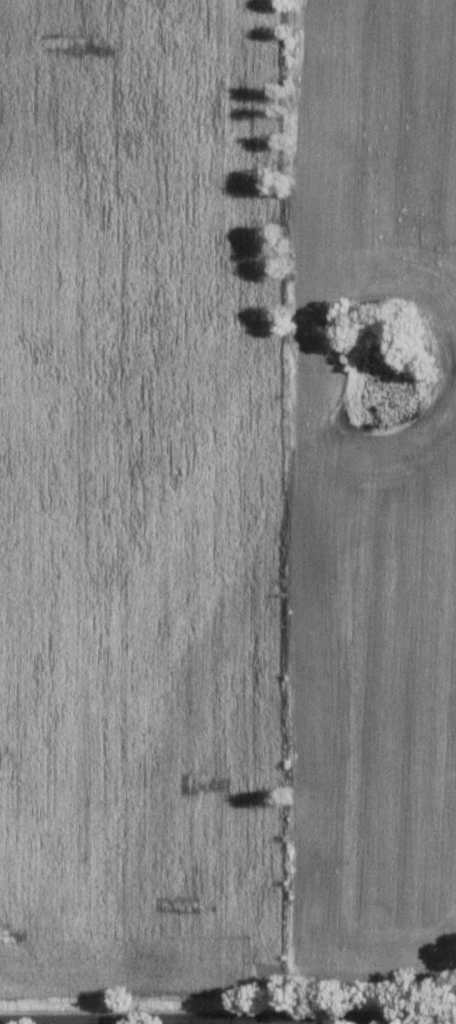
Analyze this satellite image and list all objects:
road: (227, 1017)
road: (6, 1023)

